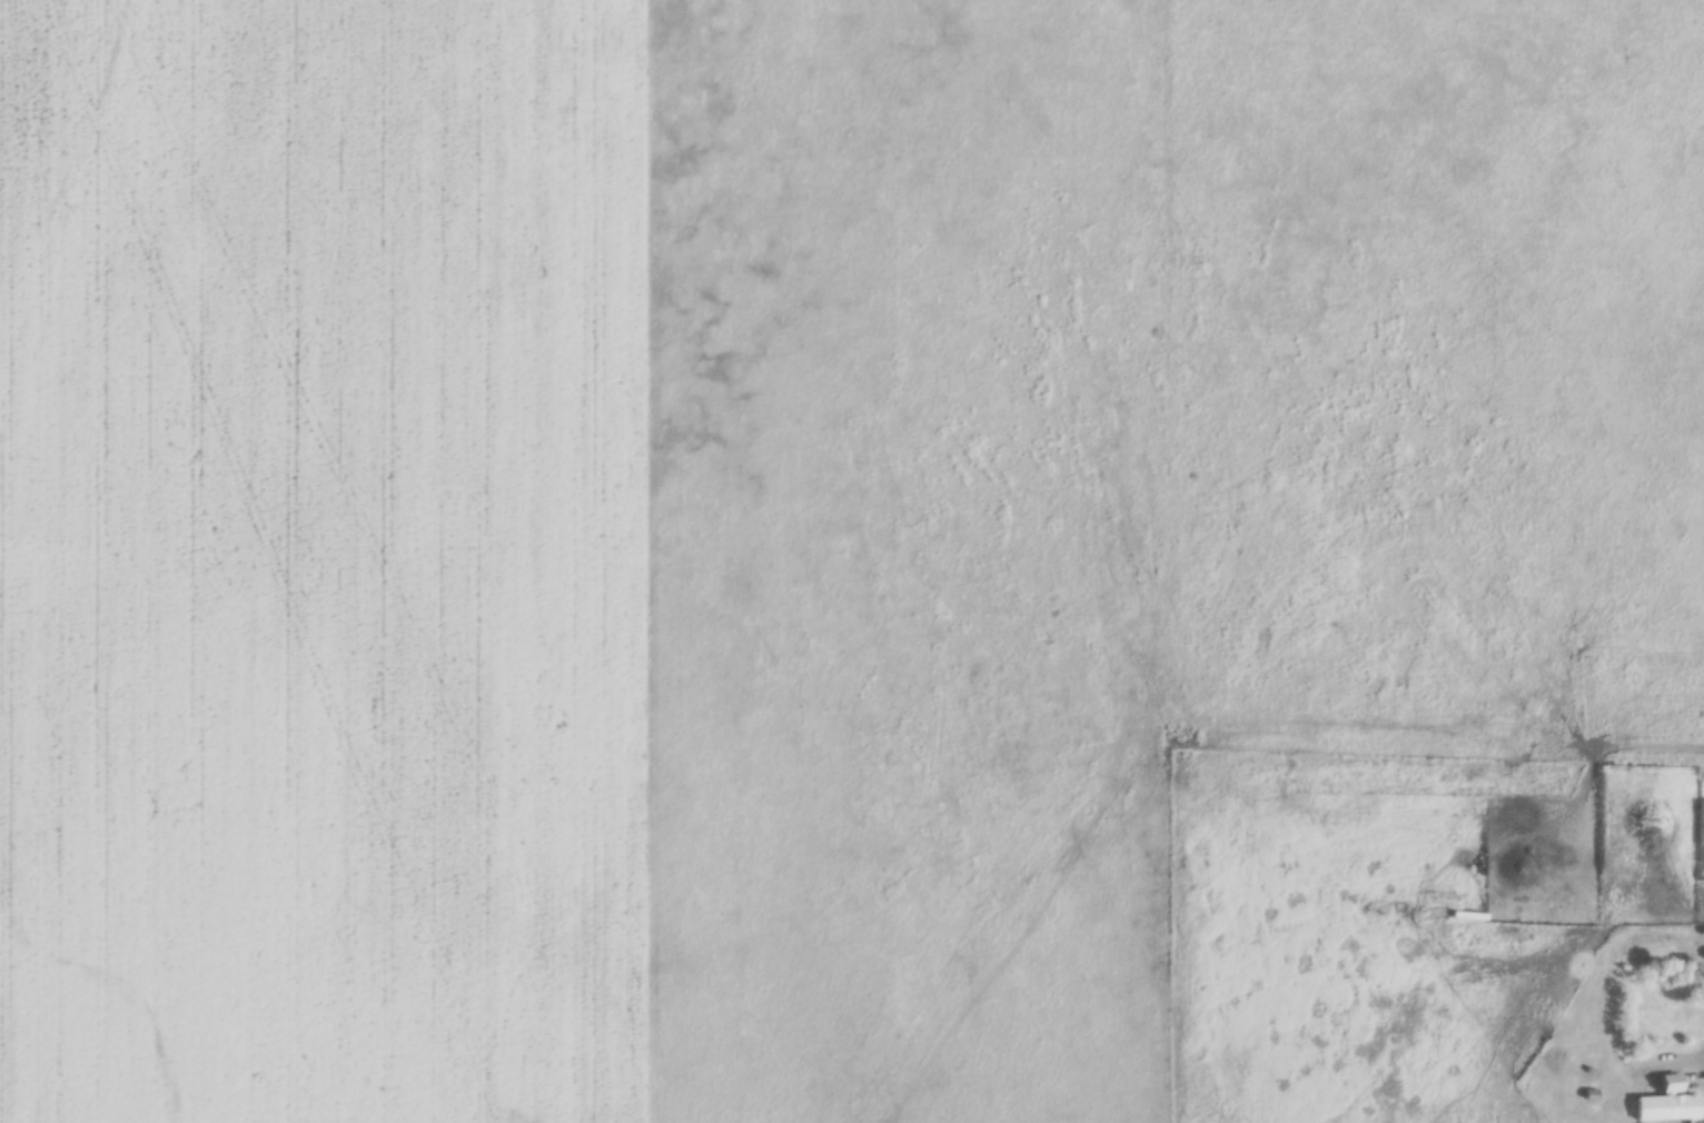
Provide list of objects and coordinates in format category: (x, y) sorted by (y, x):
building: (1403, 930)
building: (1665, 1109)

